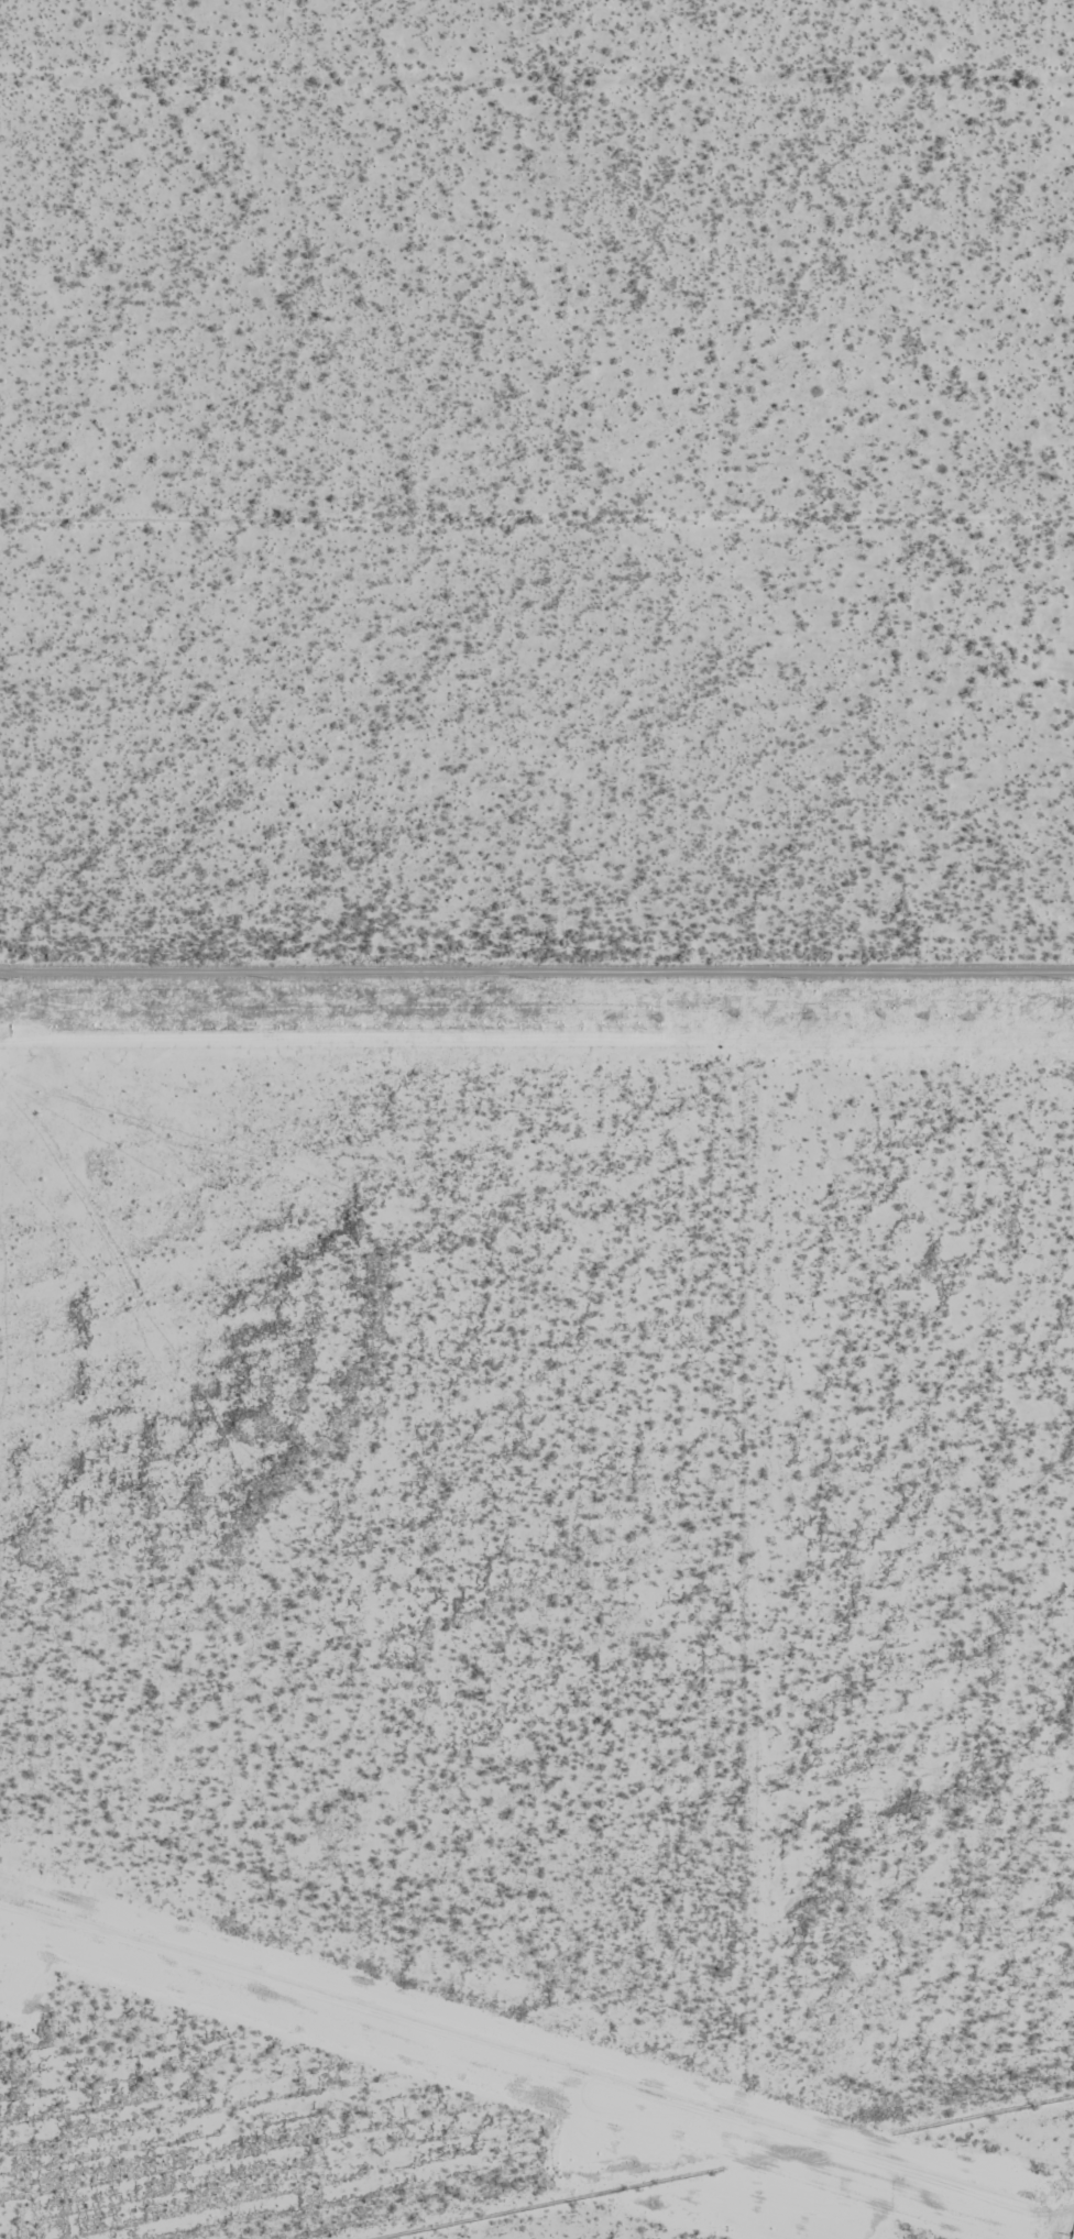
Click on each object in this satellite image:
road: (537, 1002)

